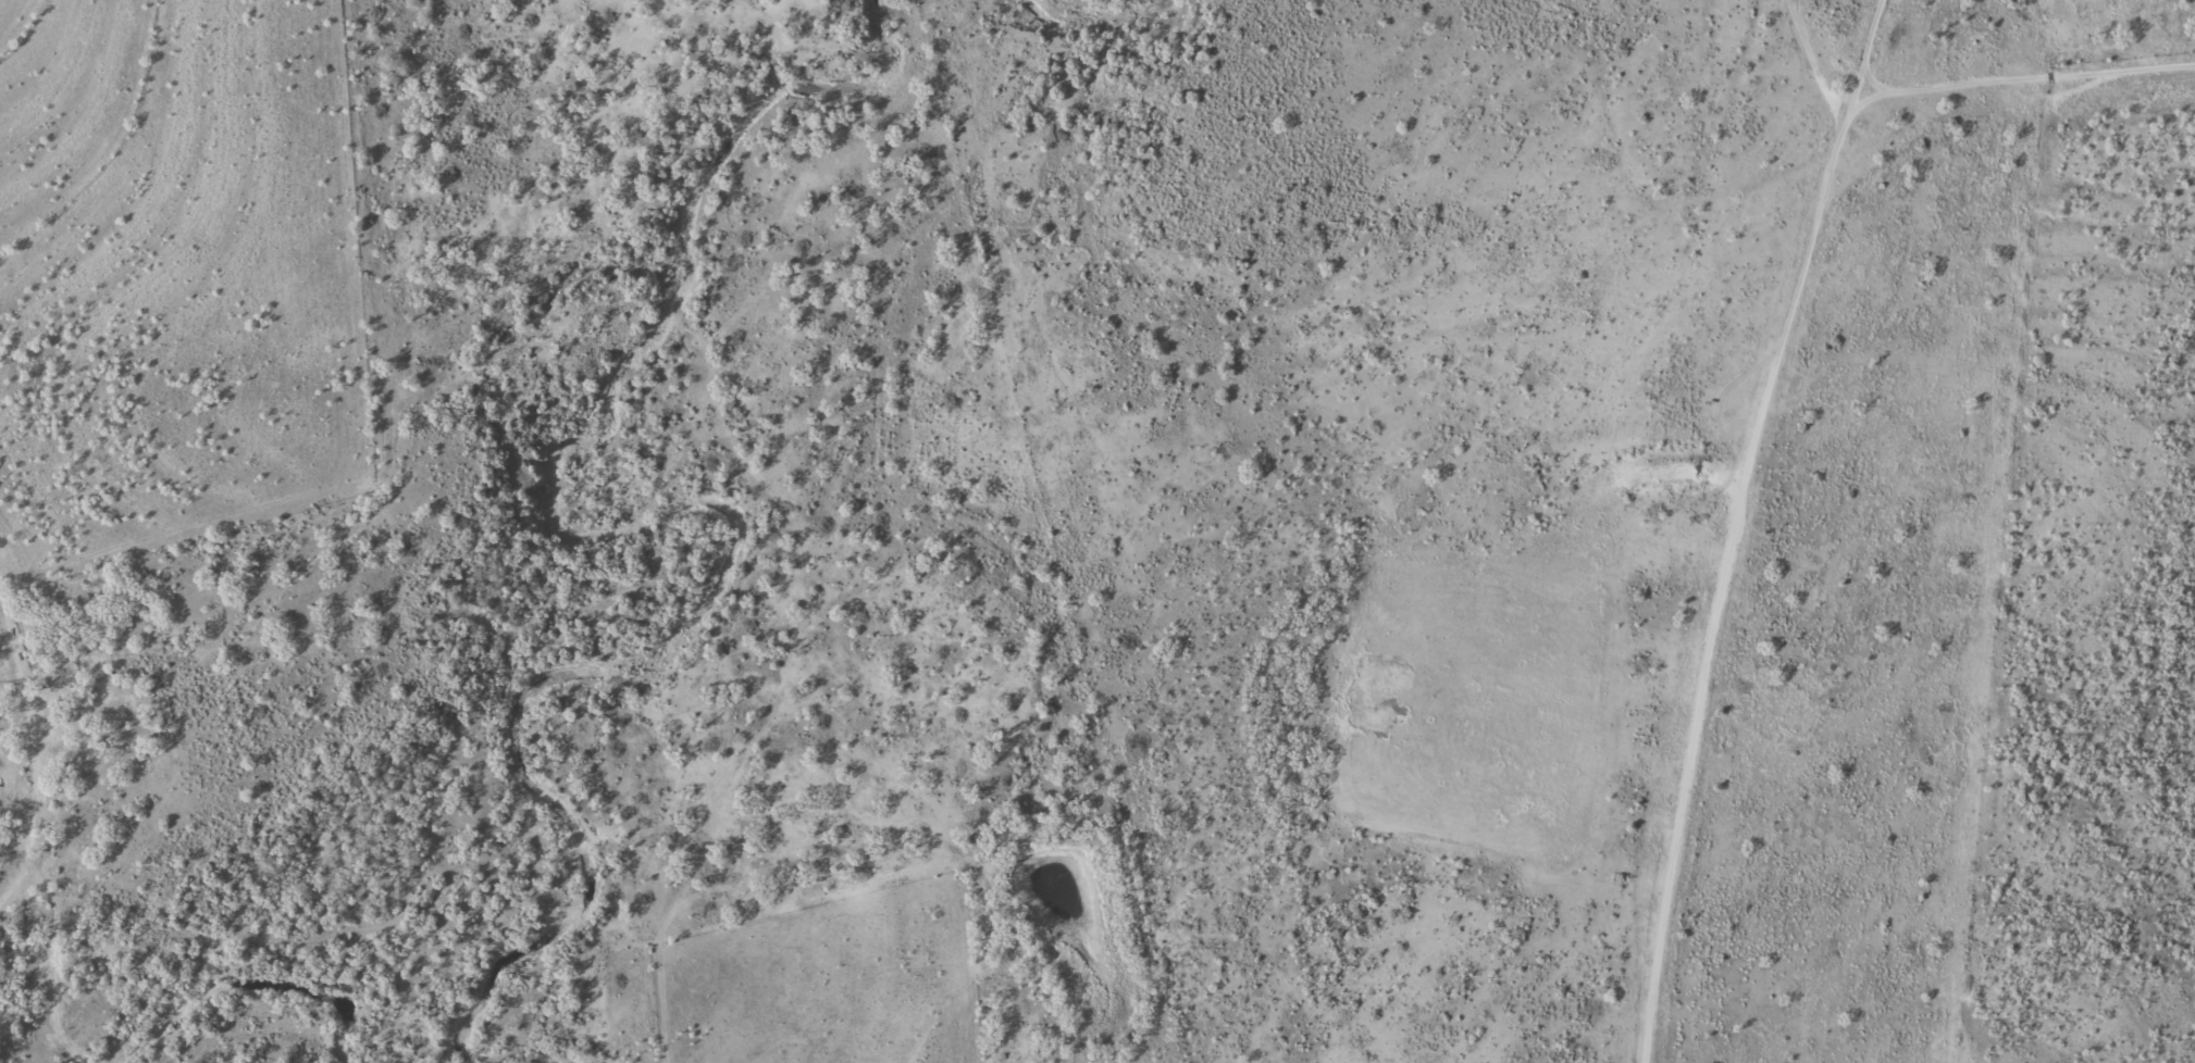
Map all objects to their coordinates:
road: (1712, 522)

